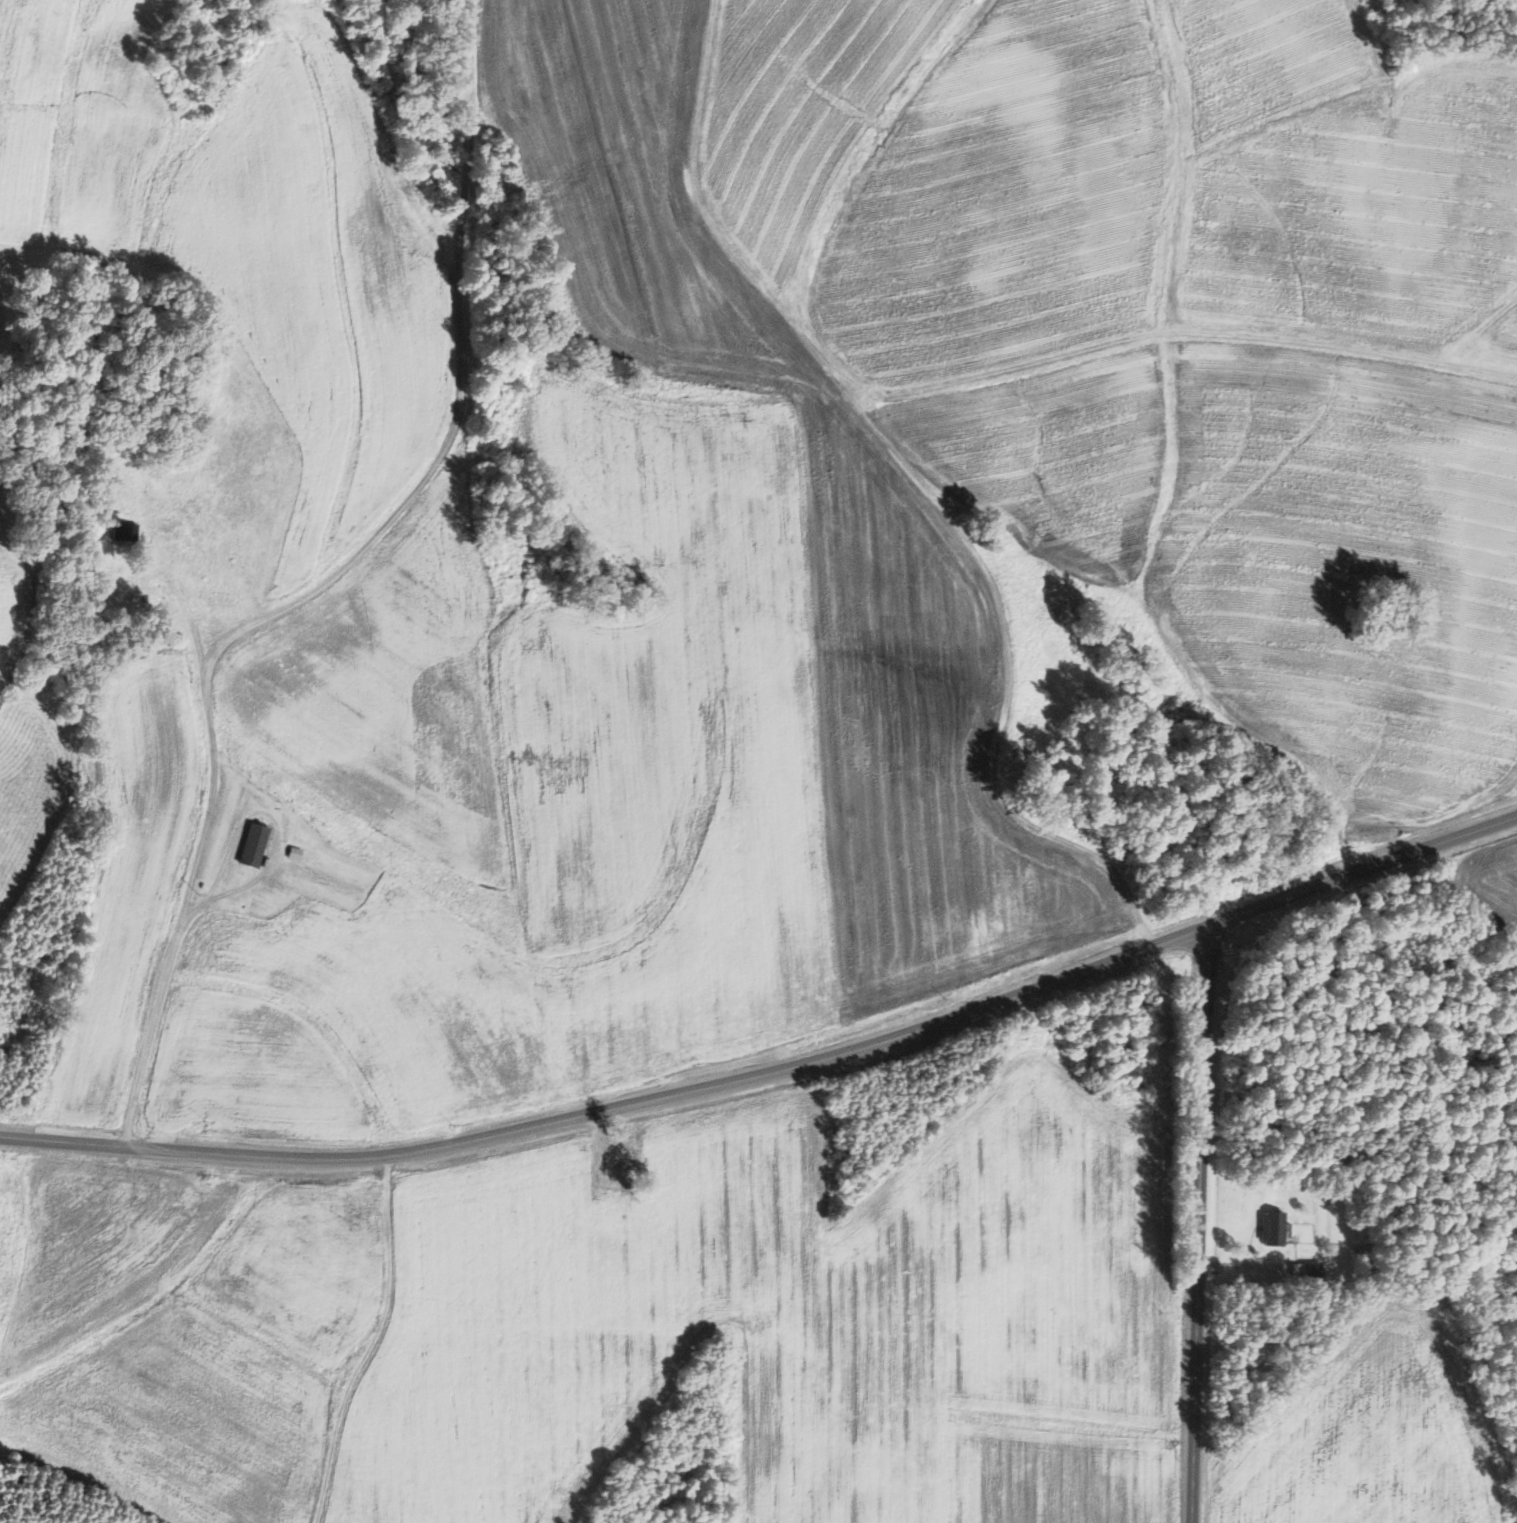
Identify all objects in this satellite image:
road: (325, 588)
building: (255, 845)
road: (774, 1072)
road: (1201, 1226)
building: (1277, 1229)

